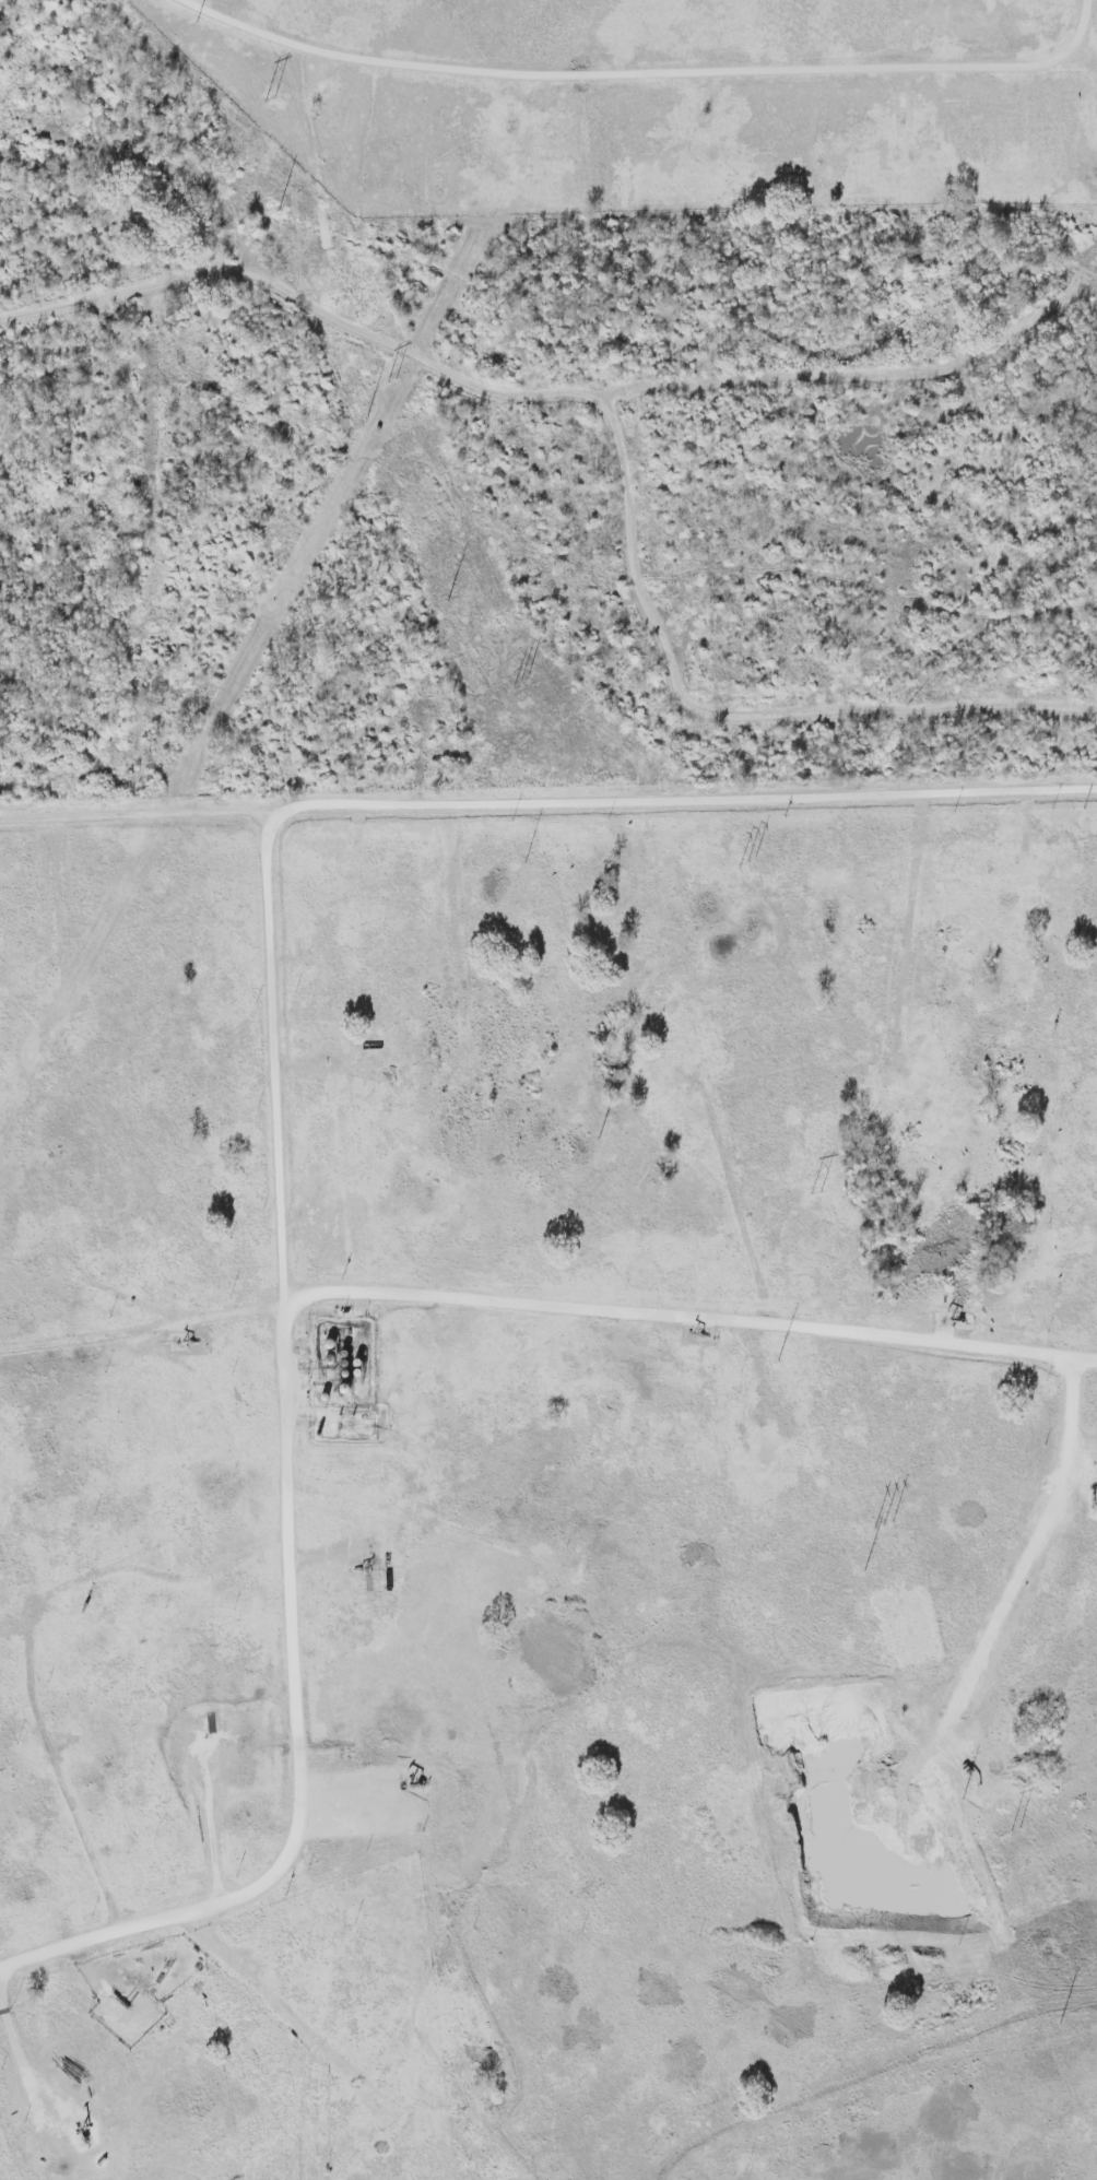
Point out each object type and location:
road: (291, 45)
road: (771, 73)
power tower: (268, 99)
power tower: (391, 385)
road: (474, 389)
power tower: (518, 681)
road: (726, 719)
road: (547, 805)
power tower: (746, 862)
power tower: (815, 1193)
road: (738, 1200)
road: (546, 1307)
road: (288, 1494)
road: (413, 1518)
power tower: (883, 1525)
power tower: (1014, 1833)
road: (214, 1838)
road: (23, 2062)

